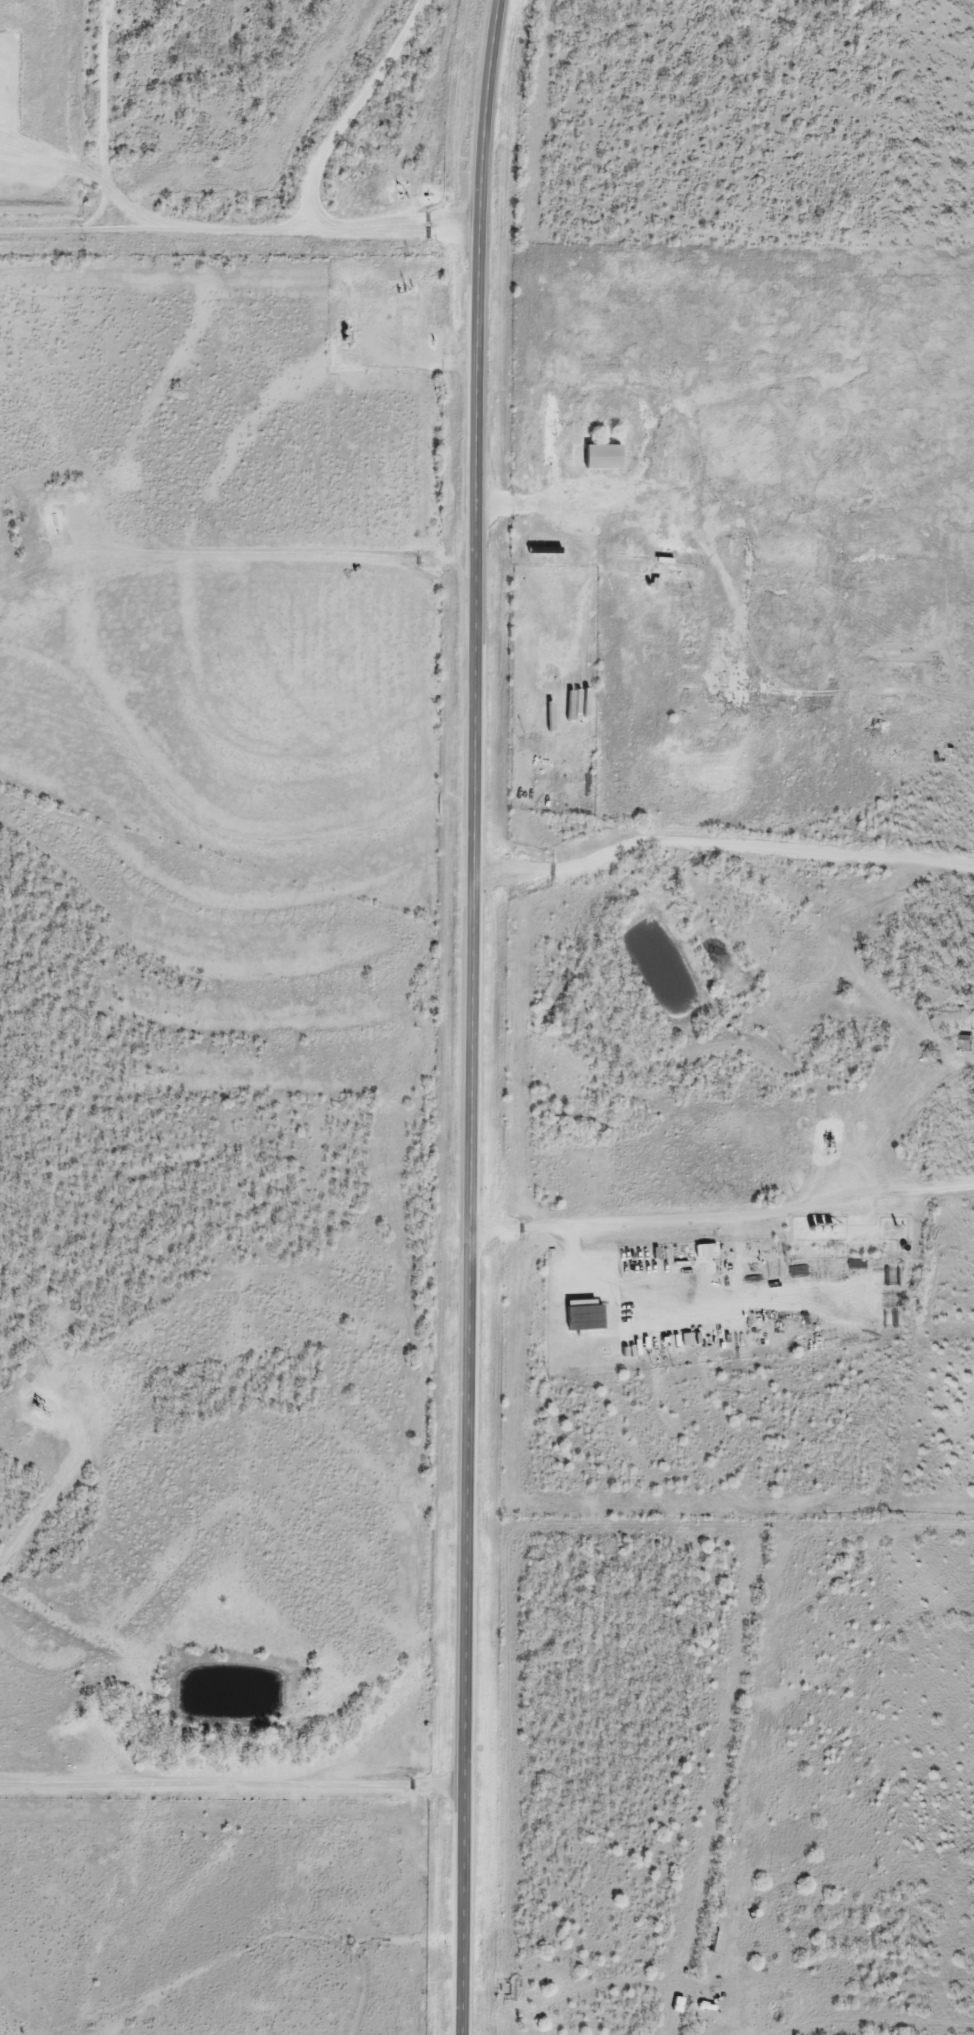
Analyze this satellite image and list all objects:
road: (312, 177)
building: (605, 457)
building: (678, 574)
building: (701, 648)
road: (719, 842)
road: (468, 1017)
road: (721, 1211)
building: (588, 1315)
building: (678, 2005)

